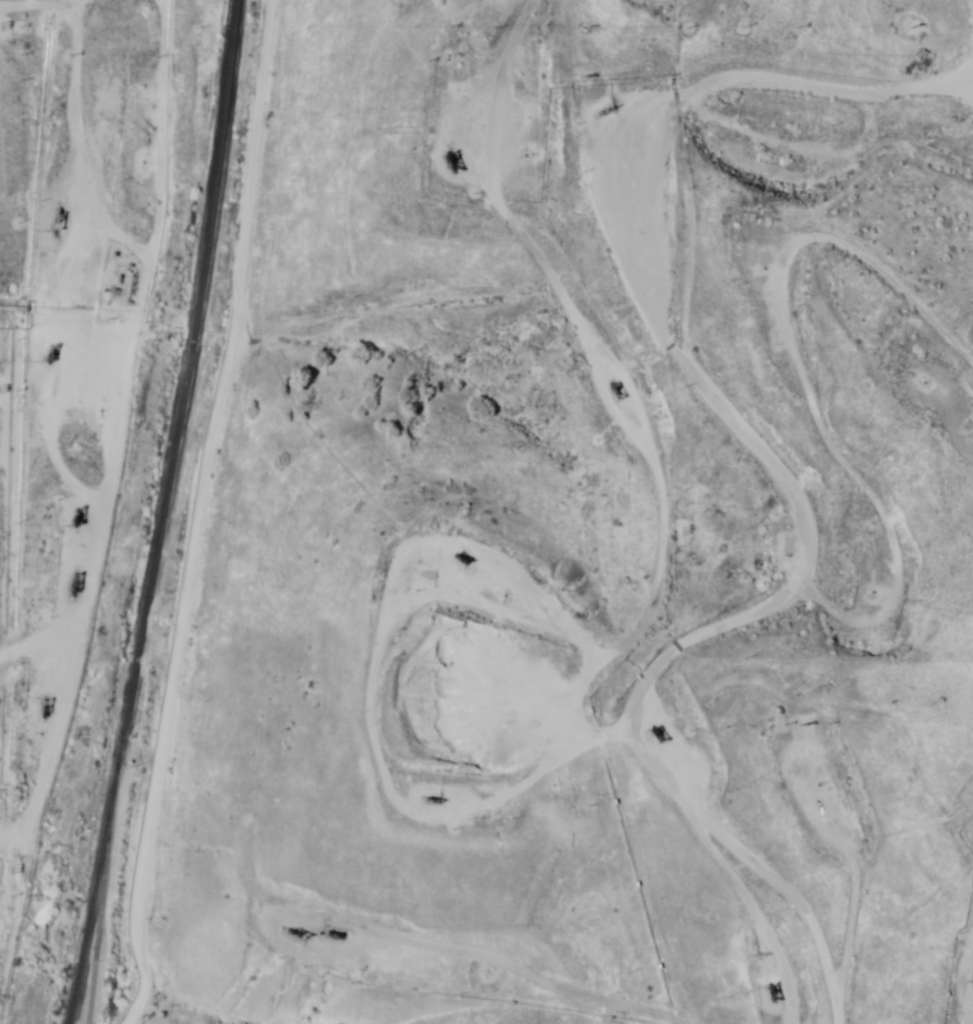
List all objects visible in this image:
road: (843, 5)
road: (45, 8)
road: (863, 24)
road: (790, 201)
road: (803, 245)
road: (63, 337)
railway: (182, 382)
road: (696, 421)
road: (963, 445)
road: (244, 517)
road: (601, 600)
road: (827, 747)
railway: (95, 894)
railway: (104, 894)
road: (933, 945)
road: (463, 967)

